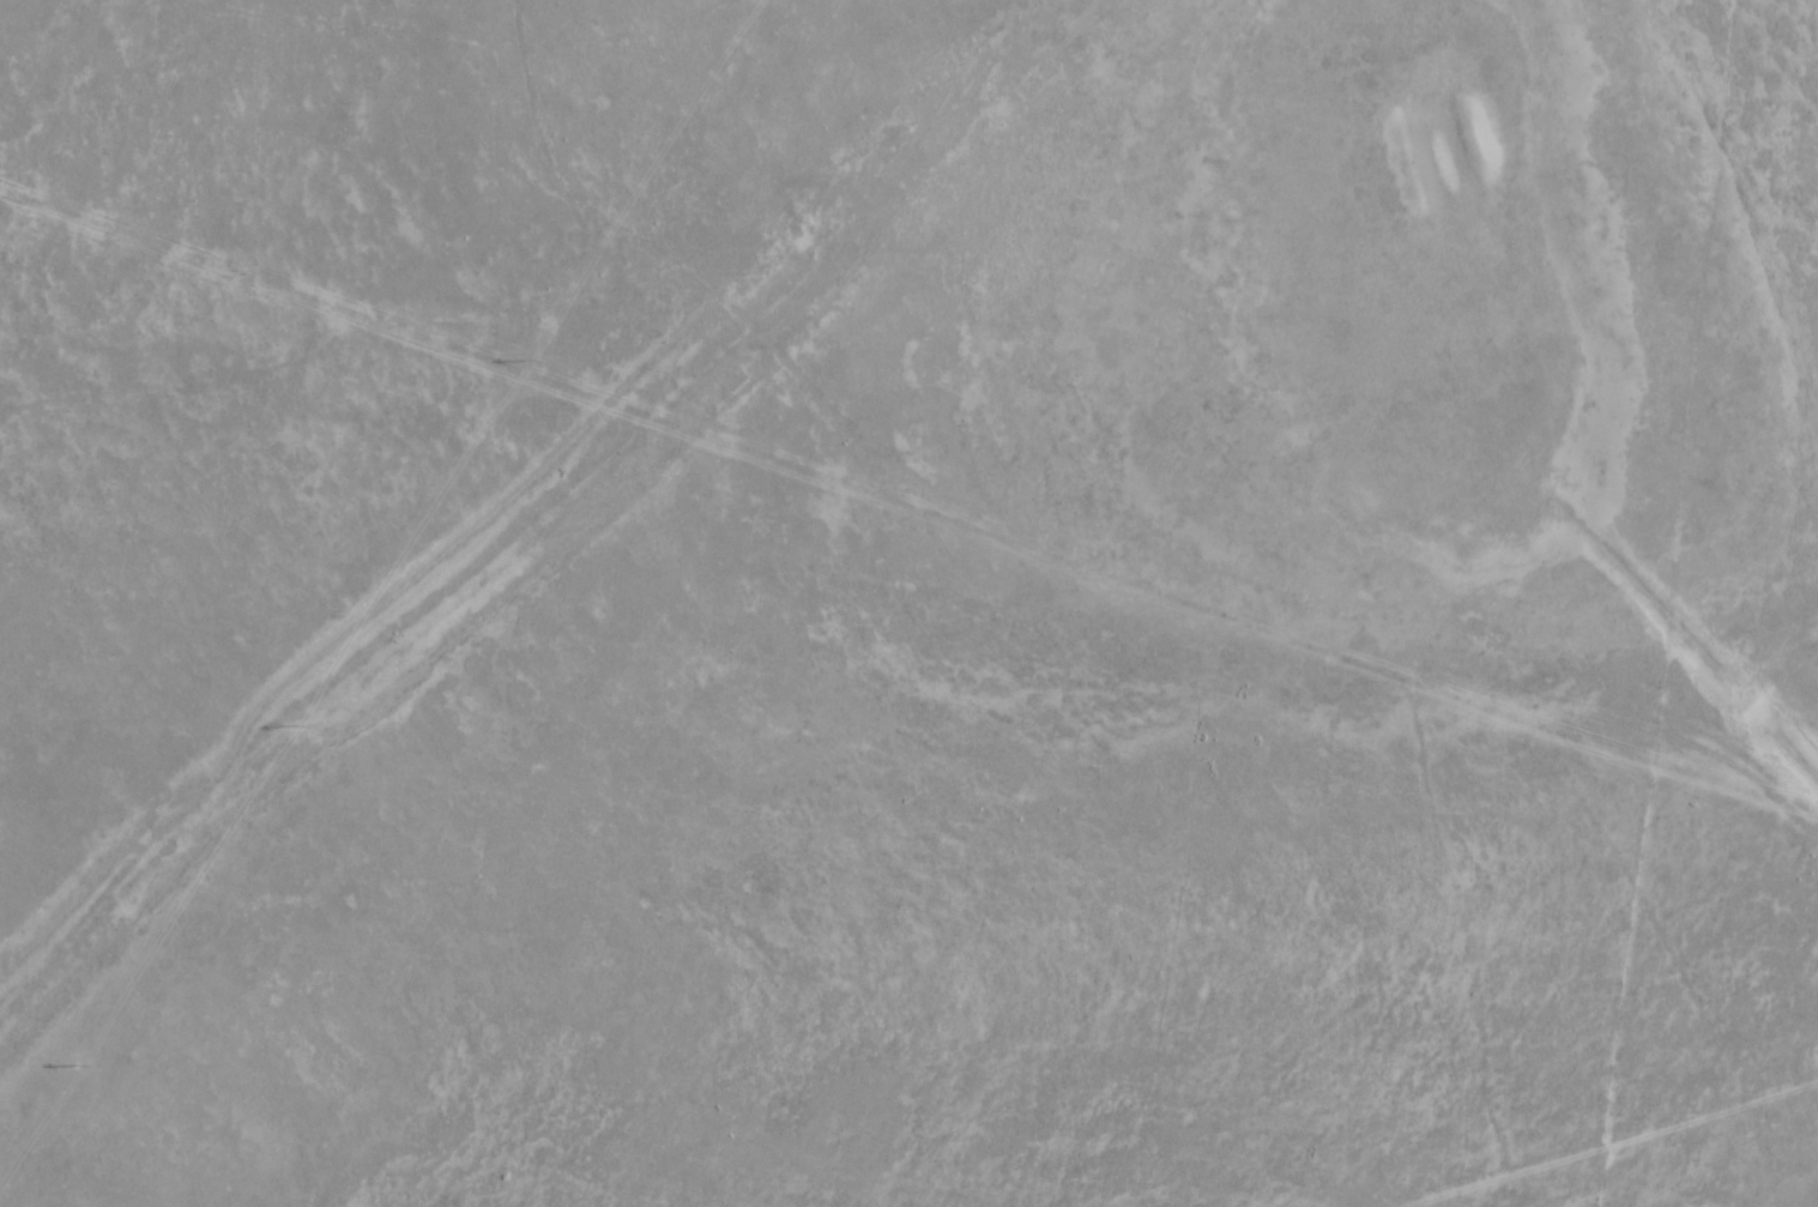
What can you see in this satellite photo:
road: (807, 886)

